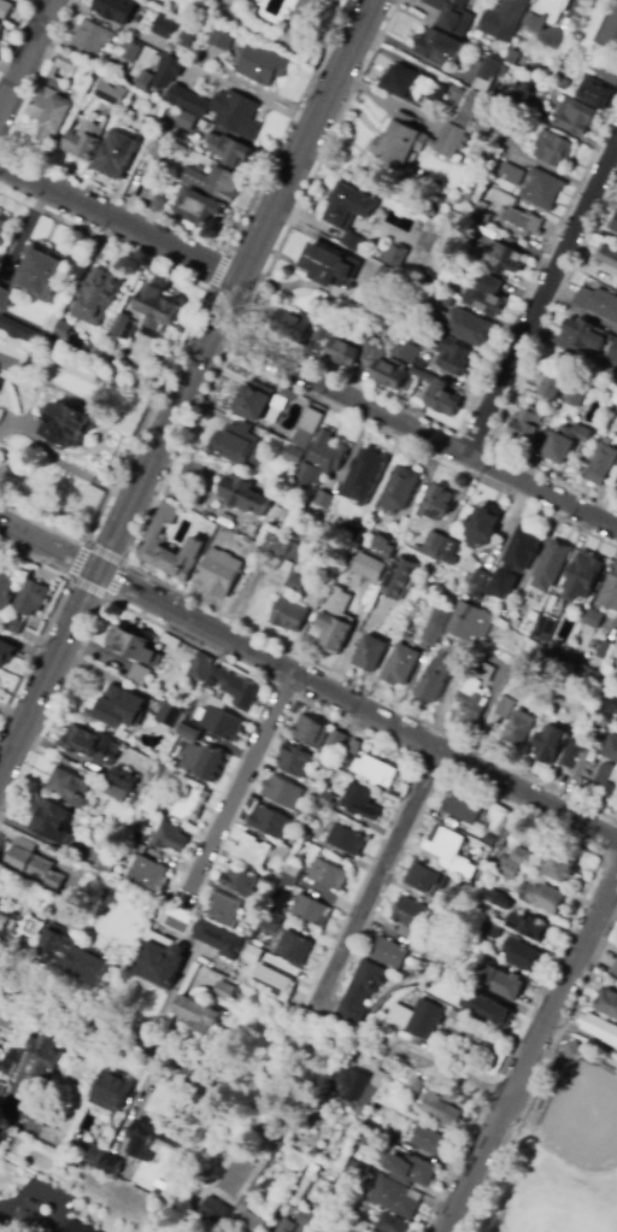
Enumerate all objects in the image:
building: (570, 0)
building: (249, 1)
building: (5, 8)
building: (116, 10)
building: (252, 11)
building: (547, 13)
building: (452, 14)
building: (505, 19)
building: (1, 25)
building: (163, 25)
building: (282, 27)
road: (13, 28)
building: (612, 33)
building: (0, 35)
building: (93, 37)
building: (183, 37)
building: (221, 37)
building: (436, 45)
building: (157, 46)
building: (130, 51)
road: (25, 54)
building: (154, 60)
building: (65, 61)
building: (522, 61)
building: (262, 64)
building: (169, 70)
building: (487, 74)
building: (607, 74)
building: (143, 80)
building: (413, 86)
building: (111, 92)
building: (597, 93)
building: (519, 96)
building: (84, 107)
building: (222, 110)
building: (52, 111)
building: (470, 111)
building: (575, 116)
building: (187, 122)
building: (483, 124)
building: (84, 140)
road: (306, 140)
building: (415, 142)
building: (157, 147)
building: (553, 149)
building: (229, 151)
building: (116, 156)
building: (511, 175)
building: (213, 182)
building: (542, 190)
building: (157, 201)
building: (199, 207)
building: (347, 212)
building: (506, 215)
road: (118, 223)
road: (170, 223)
building: (613, 224)
building: (4, 234)
building: (395, 256)
building: (499, 256)
building: (607, 259)
building: (330, 266)
building: (35, 278)
building: (384, 284)
road: (206, 292)
building: (98, 294)
building: (486, 295)
road: (540, 295)
building: (443, 300)
building: (598, 303)
building: (154, 310)
road: (578, 312)
building: (119, 325)
building: (293, 325)
building: (465, 327)
building: (18, 328)
building: (66, 334)
building: (321, 335)
building: (586, 335)
building: (369, 346)
road: (571, 348)
building: (615, 352)
building: (343, 353)
building: (407, 353)
road: (175, 356)
building: (452, 356)
building: (8, 360)
building: (389, 372)
building: (423, 376)
road: (351, 380)
building: (0, 382)
building: (551, 386)
building: (615, 395)
building: (401, 397)
building: (283, 398)
building: (575, 398)
building: (441, 399)
building: (253, 401)
building: (272, 416)
building: (310, 420)
building: (69, 426)
road: (166, 426)
building: (527, 426)
road: (415, 429)
building: (565, 442)
building: (240, 445)
building: (296, 447)
building: (321, 460)
road: (64, 465)
building: (600, 465)
building: (364, 475)
building: (399, 489)
building: (243, 495)
building: (616, 495)
building: (323, 499)
building: (436, 503)
road: (147, 514)
building: (402, 524)
building: (480, 528)
building: (249, 530)
building: (349, 532)
building: (153, 541)
building: (280, 546)
building: (435, 546)
road: (47, 547)
building: (383, 547)
building: (253, 550)
building: (460, 555)
building: (516, 561)
road: (122, 562)
building: (551, 565)
building: (369, 568)
building: (219, 574)
building: (582, 576)
building: (396, 577)
building: (481, 579)
building: (295, 582)
building: (7, 586)
building: (610, 592)
building: (30, 598)
road: (49, 615)
building: (288, 616)
building: (370, 621)
building: (593, 621)
building: (335, 622)
building: (470, 622)
building: (14, 626)
building: (410, 629)
building: (545, 629)
building: (433, 632)
building: (170, 641)
building: (134, 644)
building: (603, 651)
building: (6, 652)
building: (370, 653)
building: (487, 659)
building: (400, 665)
building: (200, 667)
road: (48, 671)
building: (140, 673)
building: (435, 679)
building: (235, 688)
building: (475, 696)
building: (504, 706)
building: (118, 708)
road: (355, 709)
building: (601, 710)
building: (615, 710)
building: (169, 715)
building: (221, 721)
building: (597, 726)
building: (517, 729)
building: (311, 731)
building: (189, 732)
building: (337, 740)
building: (547, 744)
building: (92, 745)
building: (610, 747)
building: (572, 750)
building: (294, 761)
building: (204, 762)
building: (582, 762)
building: (328, 763)
building: (370, 770)
building: (123, 779)
road: (239, 781)
building: (605, 785)
building: (69, 788)
building: (282, 792)
building: (114, 793)
building: (316, 793)
building: (154, 798)
building: (133, 800)
building: (192, 802)
building: (329, 802)
building: (359, 802)
building: (460, 808)
building: (52, 821)
building: (269, 822)
building: (300, 823)
building: (481, 833)
building: (170, 838)
building: (137, 839)
building: (346, 840)
building: (252, 851)
building: (448, 851)
building: (284, 852)
building: (519, 856)
building: (106, 864)
building: (33, 868)
building: (562, 868)
building: (509, 869)
building: (148, 874)
building: (328, 875)
road: (378, 875)
building: (290, 878)
building: (425, 879)
building: (239, 881)
building: (270, 882)
building: (503, 899)
building: (546, 899)
building: (442, 905)
building: (310, 910)
building: (257, 911)
building: (227, 914)
building: (410, 914)
building: (271, 922)
building: (31, 926)
building: (525, 926)
building: (8, 927)
building: (492, 927)
building: (415, 935)
building: (218, 940)
building: (294, 949)
building: (417, 949)
building: (388, 952)
building: (519, 955)
building: (251, 956)
building: (77, 957)
building: (159, 964)
building: (615, 970)
building: (503, 982)
building: (454, 984)
building: (275, 985)
building: (239, 988)
building: (223, 991)
building: (363, 991)
building: (607, 1003)
building: (258, 1008)
building: (489, 1011)
building: (198, 1014)
building: (5, 1015)
road: (86, 1016)
building: (459, 1016)
building: (419, 1017)
building: (25, 1026)
building: (599, 1028)
road: (529, 1049)
building: (571, 1050)
building: (43, 1057)
building: (10, 1060)
road: (452, 1070)
road: (540, 1072)
building: (0, 1083)
building: (416, 1086)
building: (353, 1089)
building: (1, 1090)
building: (111, 1091)
building: (437, 1108)
building: (28, 1111)
building: (151, 1136)
building: (2, 1137)
building: (298, 1140)
building: (428, 1142)
park: (582, 1144)
building: (382, 1148)
park: (554, 1148)
building: (90, 1152)
building: (111, 1164)
building: (353, 1164)
building: (386, 1167)
building: (369, 1172)
building: (415, 1174)
building: (305, 1179)
building: (395, 1201)
building: (215, 1213)
park: (548, 1216)
building: (29, 1218)
road: (19, 1222)
building: (305, 1222)
building: (252, 1224)
building: (392, 1224)
building: (359, 1225)
building: (286, 1226)
building: (78, 1227)

